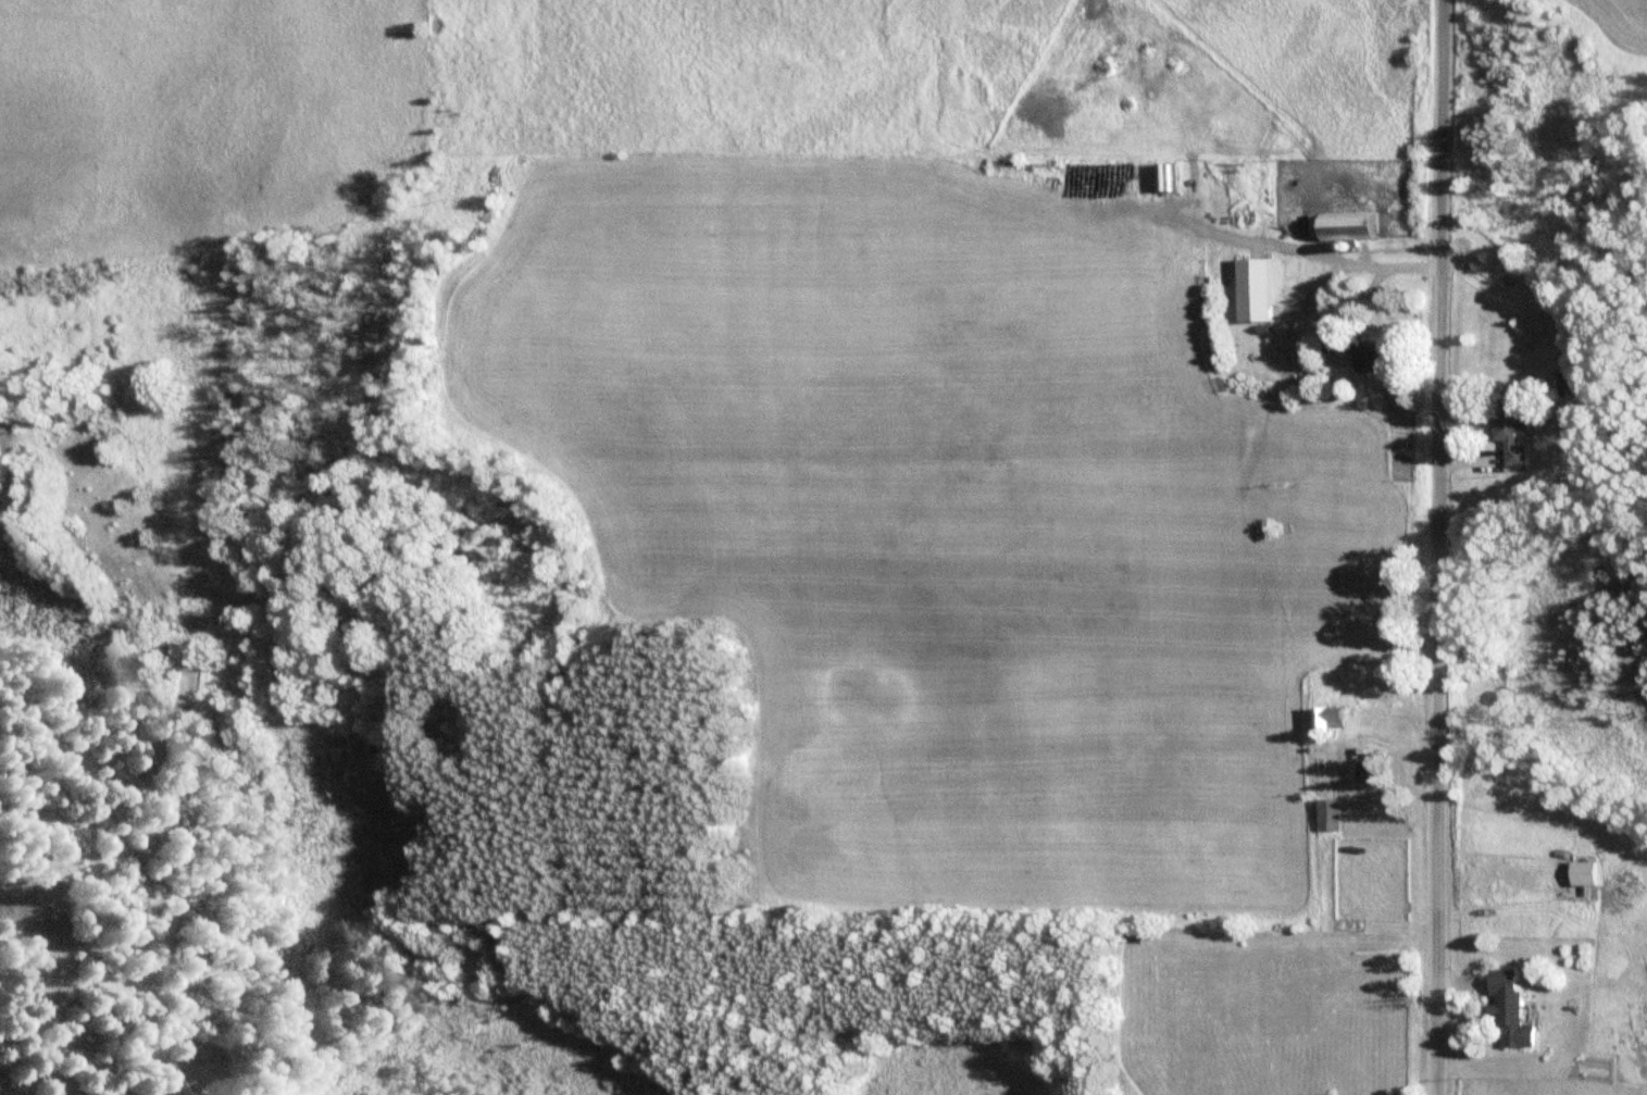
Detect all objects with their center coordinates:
building: (1170, 177)
building: (1352, 226)
building: (1259, 290)
building: (1332, 339)
building: (1372, 357)
building: (1519, 433)
road: (1439, 547)
building: (1337, 719)
building: (1367, 772)
building: (1333, 816)
building: (1589, 874)
building: (1515, 1009)

